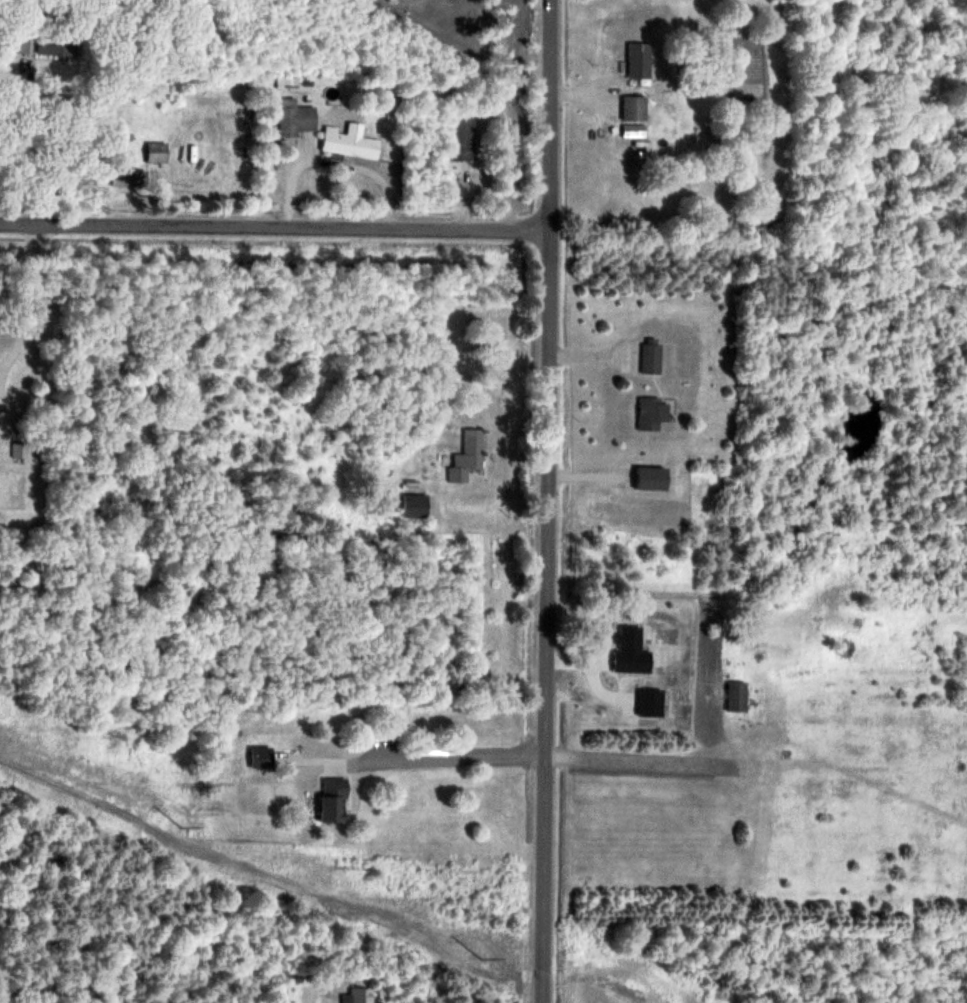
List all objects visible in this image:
building: (20, 40)
building: (59, 43)
building: (641, 59)
building: (636, 107)
building: (297, 116)
building: (464, 138)
building: (353, 140)
building: (158, 151)
road: (278, 229)
building: (653, 356)
building: (654, 413)
building: (21, 448)
building: (469, 455)
road: (553, 501)
building: (416, 504)
building: (634, 646)
building: (738, 695)
building: (653, 702)
building: (263, 757)
road: (445, 758)
building: (335, 799)
power tower: (181, 825)
power tower: (485, 957)
building: (358, 996)

